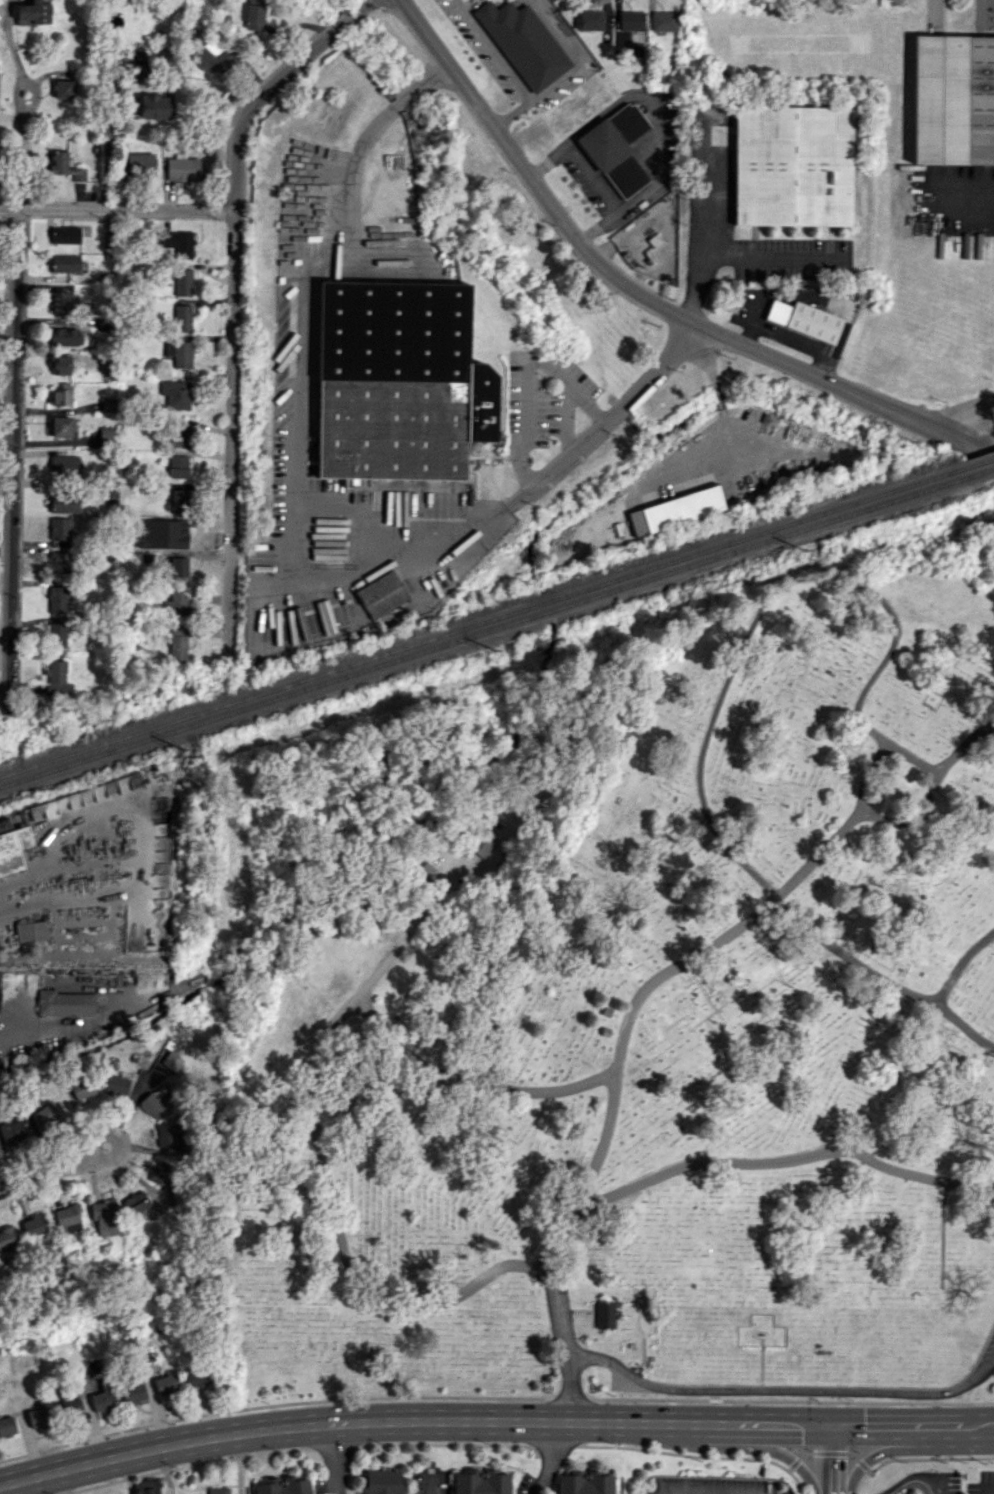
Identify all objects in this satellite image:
building: (0, 1)
building: (34, 12)
building: (255, 14)
building: (589, 20)
building: (630, 20)
building: (663, 21)
building: (523, 42)
road: (493, 50)
building: (214, 57)
road: (567, 72)
building: (64, 89)
building: (953, 99)
building: (155, 105)
road: (23, 123)
road: (658, 138)
building: (616, 149)
road: (547, 159)
building: (138, 163)
building: (794, 165)
building: (64, 166)
building: (182, 168)
road: (592, 175)
road: (118, 210)
road: (703, 222)
building: (65, 234)
building: (180, 240)
road: (775, 258)
building: (65, 263)
building: (183, 282)
road: (644, 296)
road: (234, 297)
building: (60, 302)
building: (182, 318)
building: (804, 320)
building: (65, 336)
building: (179, 353)
building: (60, 364)
road: (299, 366)
road: (524, 375)
building: (400, 381)
road: (715, 391)
building: (176, 393)
building: (61, 394)
building: (108, 404)
road: (964, 412)
road: (606, 418)
building: (60, 426)
building: (107, 435)
building: (178, 435)
road: (10, 459)
railway: (983, 461)
building: (63, 465)
building: (178, 466)
railway: (988, 470)
building: (367, 483)
building: (179, 500)
building: (64, 502)
building: (677, 510)
building: (59, 528)
building: (60, 562)
building: (176, 569)
road: (346, 579)
road: (776, 590)
building: (381, 594)
building: (57, 599)
building: (176, 604)
railway: (486, 621)
railway: (491, 629)
building: (56, 634)
building: (177, 643)
building: (55, 677)
road: (868, 777)
road: (892, 819)
building: (481, 842)
building: (8, 850)
building: (423, 871)
road: (408, 932)
road: (958, 963)
road: (881, 977)
building: (65, 1003)
park: (633, 1009)
road: (75, 1015)
building: (171, 1061)
building: (117, 1085)
building: (83, 1088)
road: (312, 1097)
building: (156, 1101)
building: (45, 1114)
building: (12, 1129)
road: (607, 1129)
building: (170, 1134)
road: (119, 1141)
road: (777, 1160)
road: (42, 1173)
building: (163, 1173)
building: (136, 1203)
building: (106, 1217)
building: (68, 1218)
building: (35, 1225)
building: (7, 1237)
building: (601, 1314)
building: (197, 1376)
building: (166, 1384)
road: (783, 1391)
road: (212, 1392)
building: (133, 1393)
building: (103, 1401)
building: (70, 1408)
road: (155, 1413)
building: (40, 1416)
road: (493, 1420)
traffic signals: (826, 1425)
building: (7, 1426)
road: (93, 1428)
road: (29, 1445)
road: (770, 1450)
road: (877, 1453)
road: (334, 1458)
road: (549, 1458)
road: (826, 1459)
road: (239, 1463)
road: (165, 1469)
road: (127, 1474)
road: (914, 1475)
building: (382, 1481)
road: (62, 1482)
road: (428, 1482)
building: (481, 1483)
parking lot: (982, 1483)
building: (584, 1484)
building: (147, 1486)
road: (18, 1487)
building: (283, 1487)
road: (989, 1489)
building: (217, 1490)

